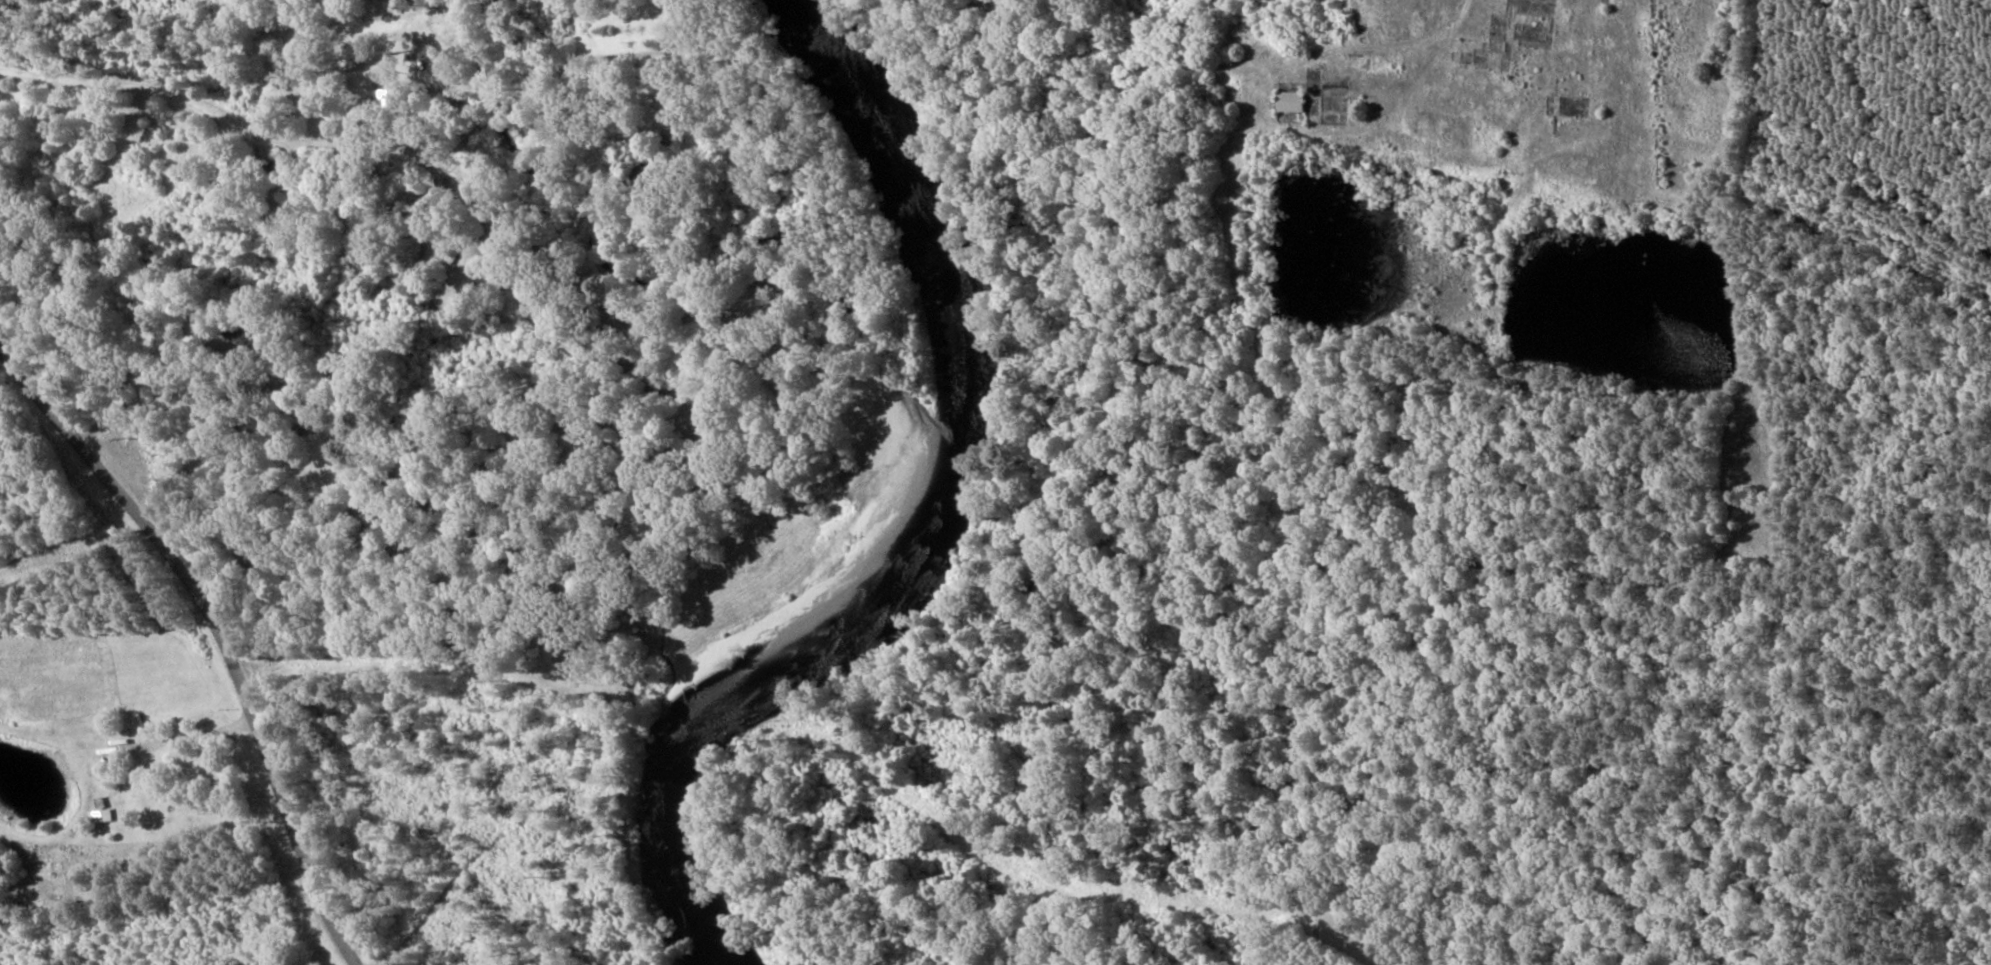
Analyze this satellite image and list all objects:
building: (1288, 101)
road: (183, 254)
road: (162, 263)
road: (444, 376)
road: (132, 392)
road: (220, 629)
road: (1741, 764)
building: (99, 811)

